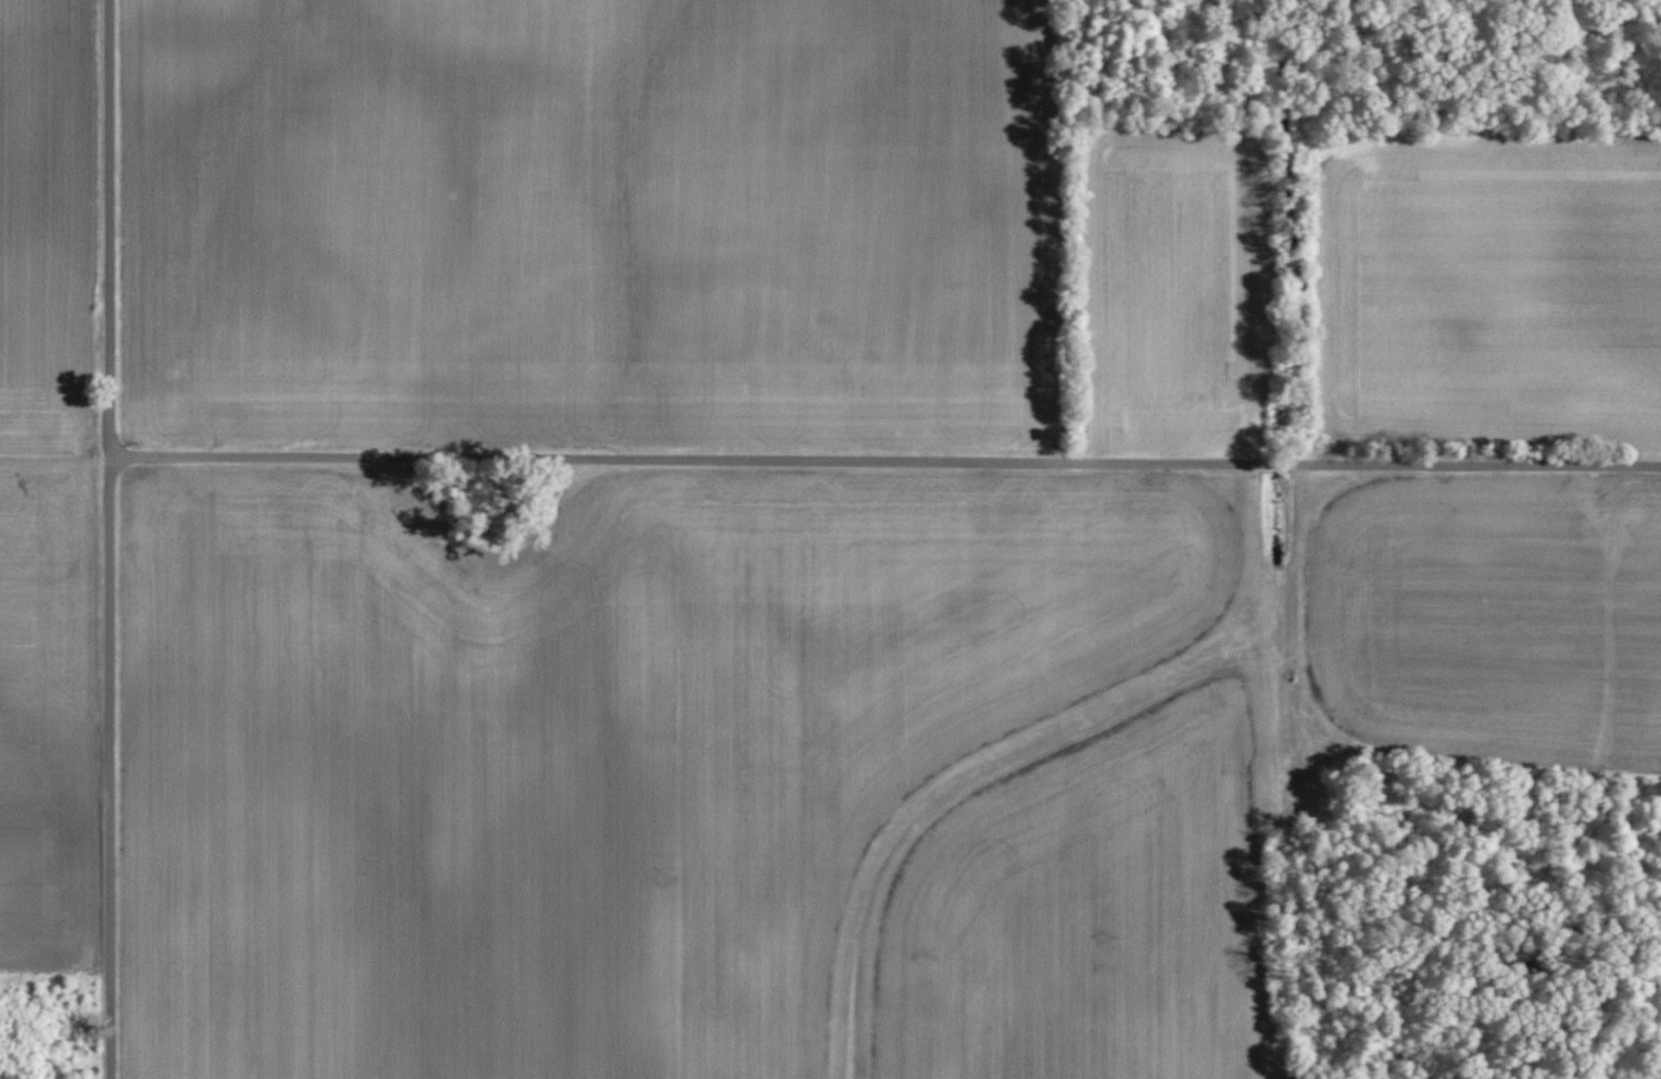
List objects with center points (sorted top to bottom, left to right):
road: (885, 462)
road: (109, 539)
road: (1619, 726)

